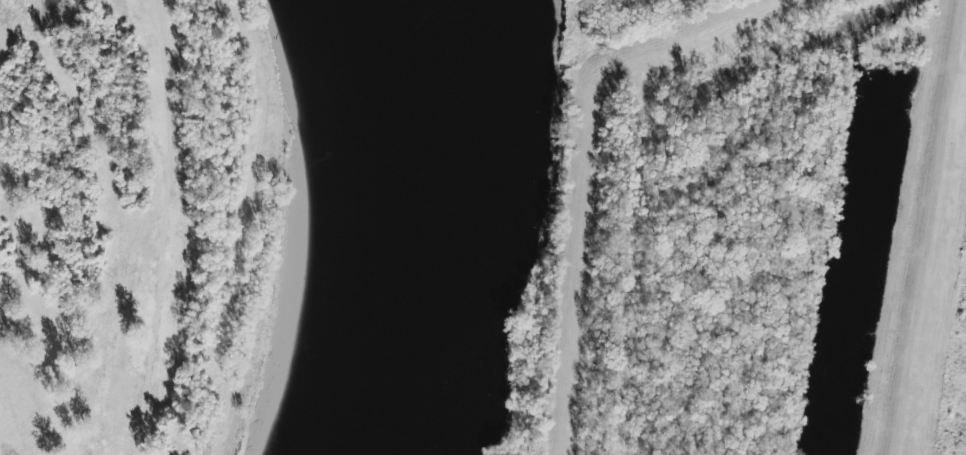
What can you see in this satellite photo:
river: (379, 227)

